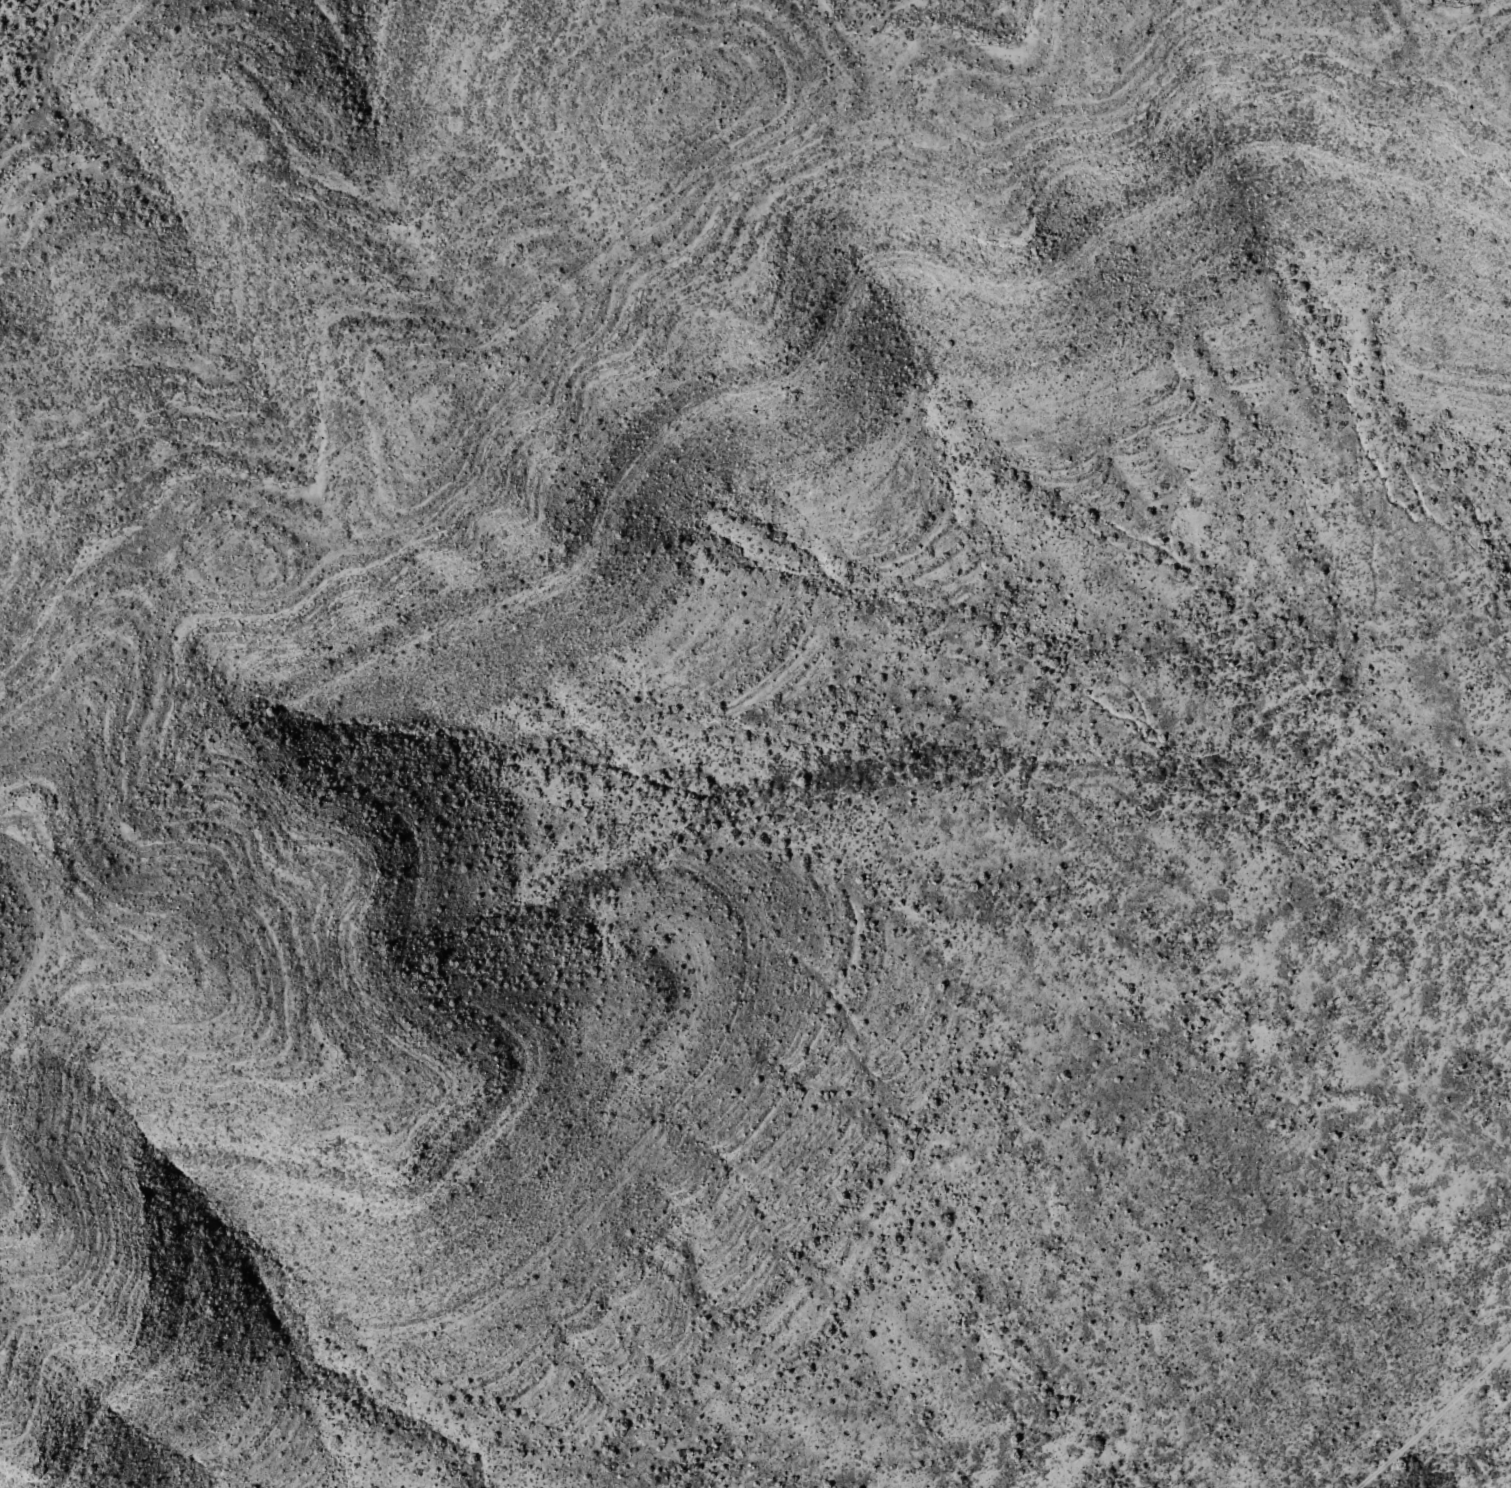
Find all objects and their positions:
road: (1442, 1424)

